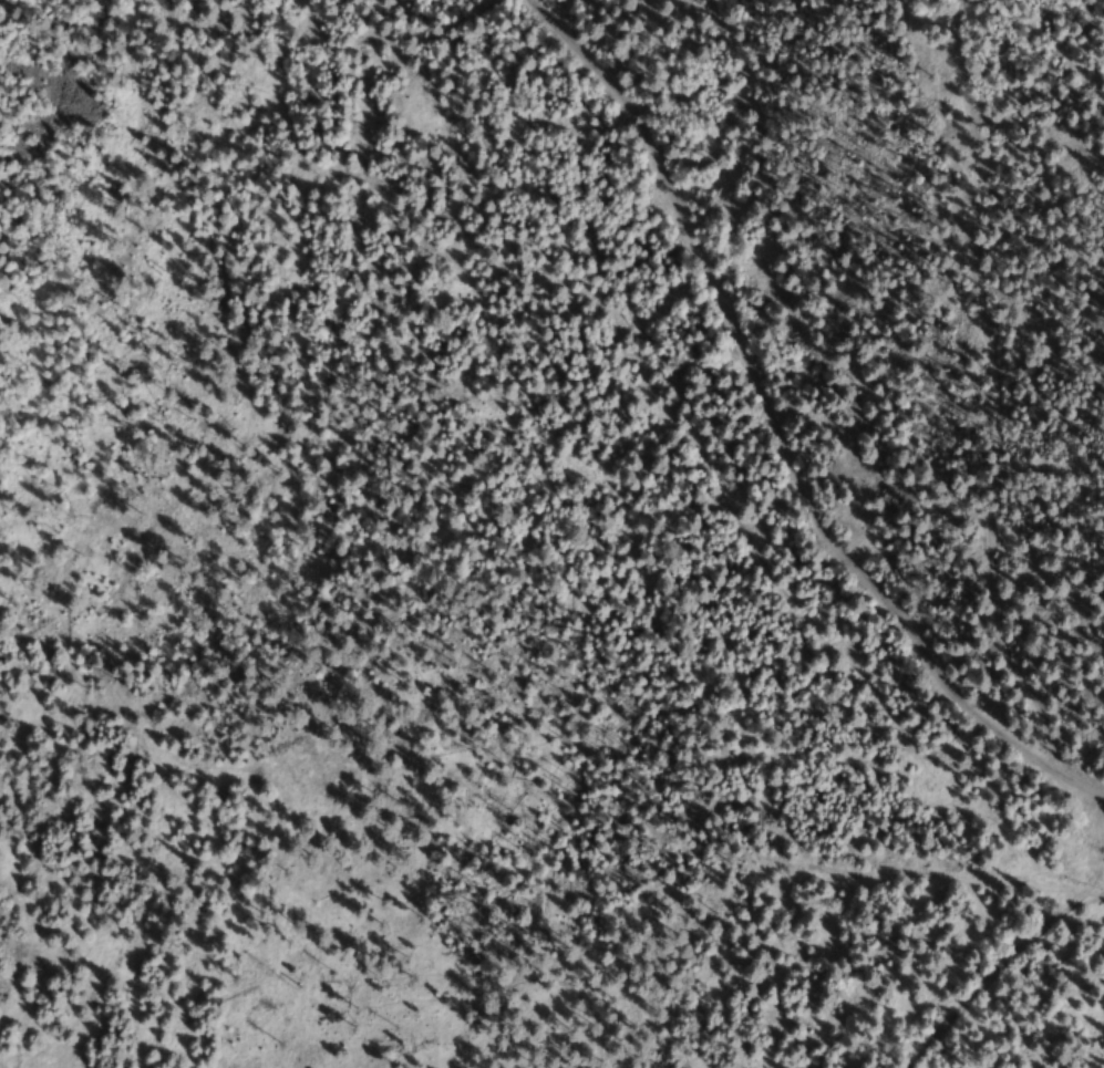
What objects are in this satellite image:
road: (784, 427)

